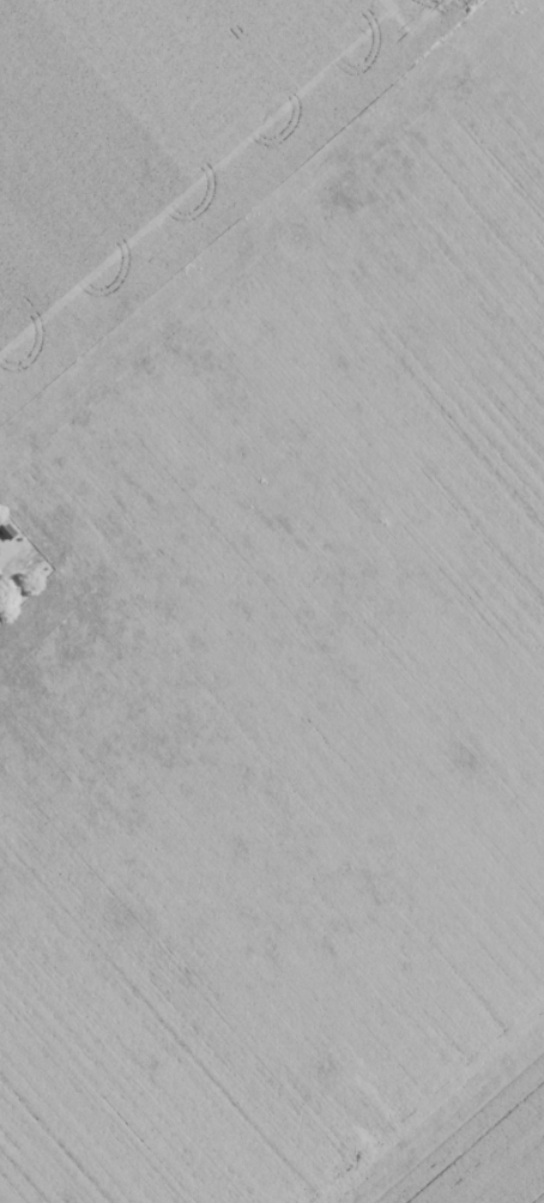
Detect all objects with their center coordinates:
building: (2, 585)

